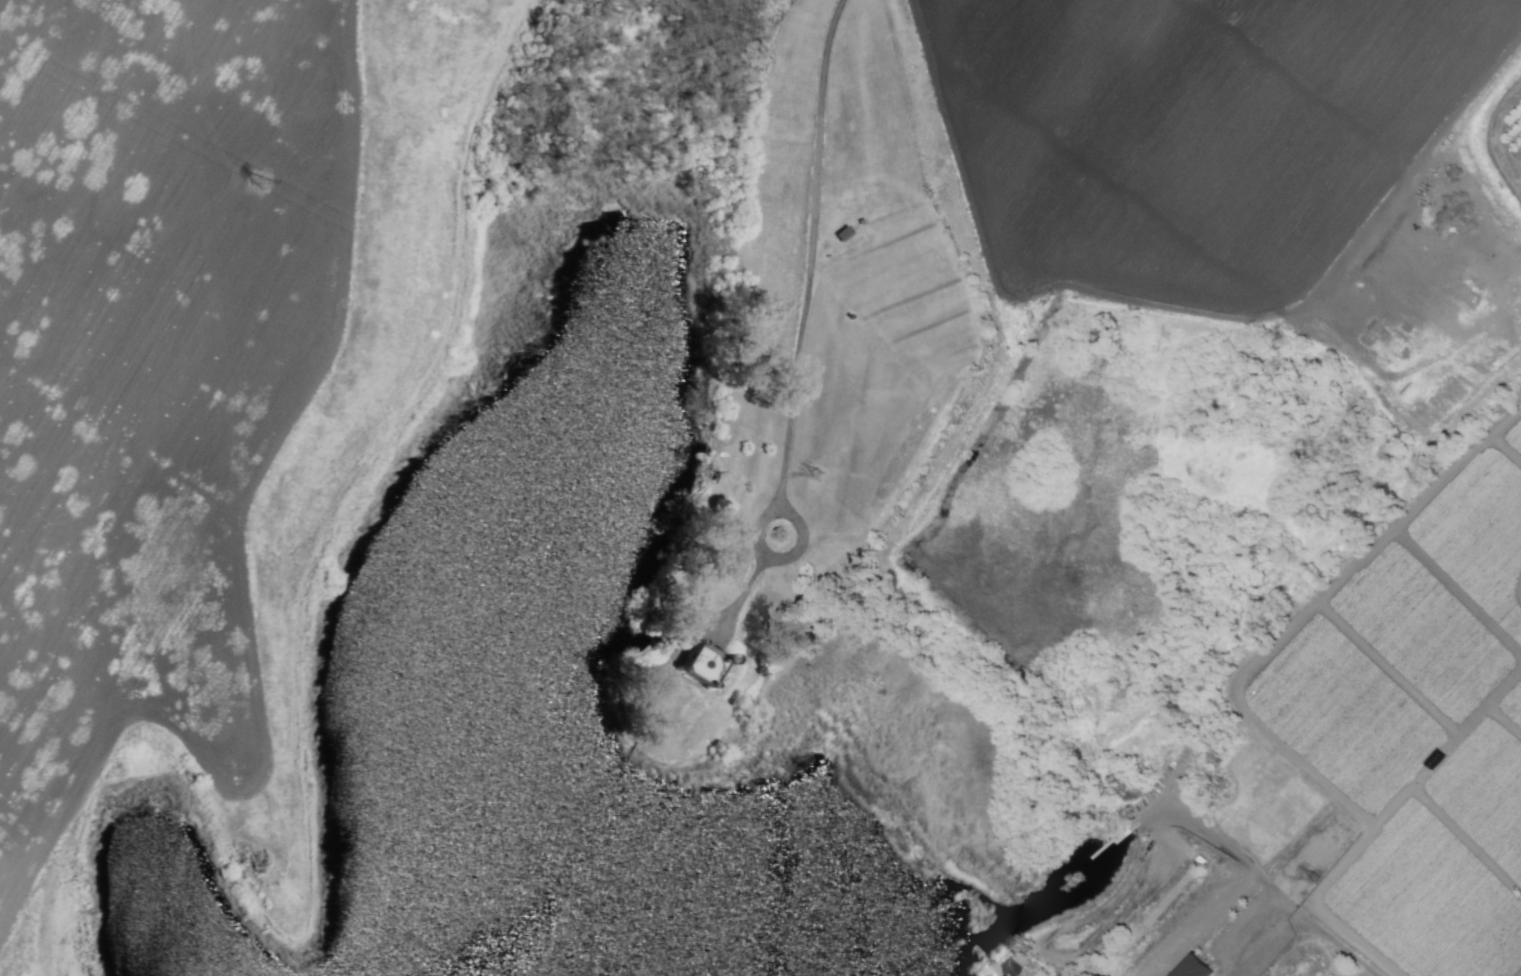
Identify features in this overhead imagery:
power tower: (261, 181)
road: (800, 321)
crop: (769, 416)
power tower: (822, 477)
road: (687, 628)
pier: (624, 659)
building: (701, 664)
crop: (1205, 862)
power tower: (1318, 878)
road: (1300, 913)
building: (1193, 967)

